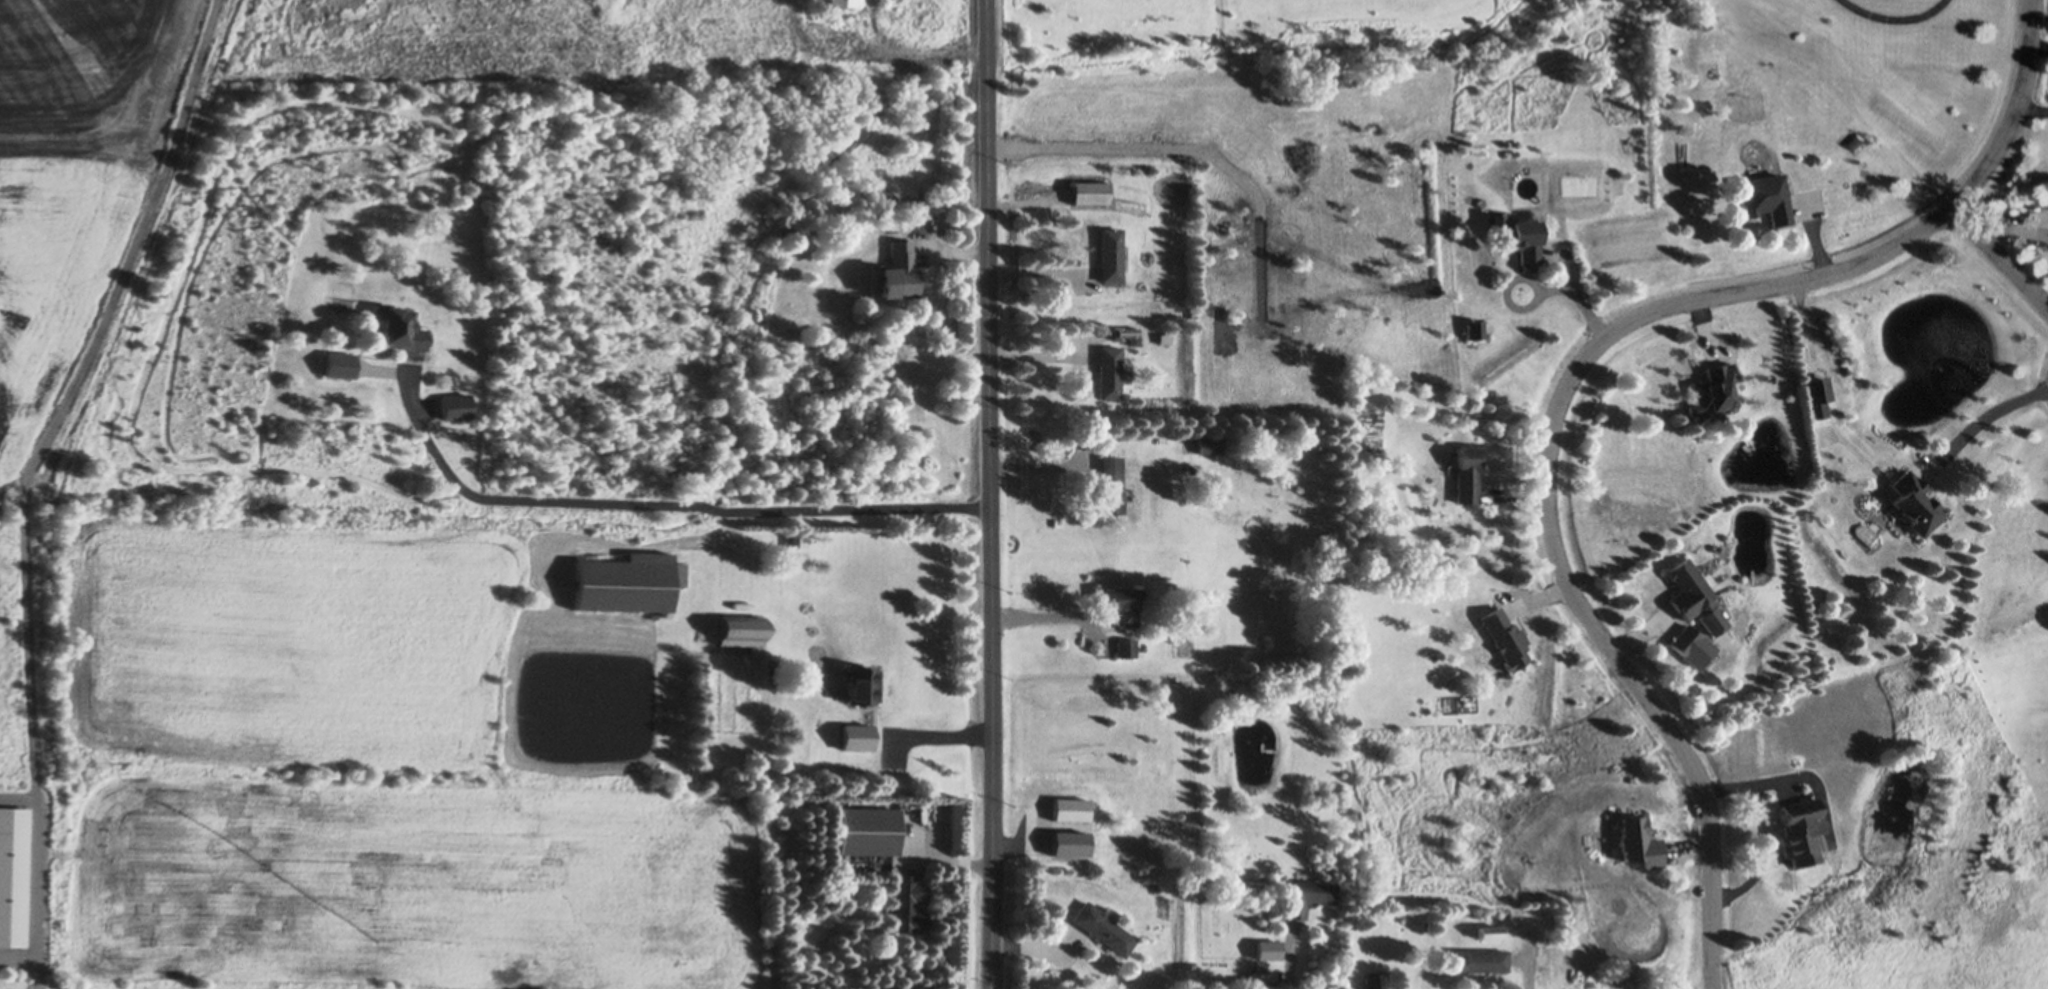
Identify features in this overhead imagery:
building: (838, 2)
road: (1897, 18)
building: (886, 32)
road: (2037, 47)
road: (910, 55)
road: (2031, 110)
building: (1857, 141)
road: (1142, 145)
building: (1090, 192)
building: (887, 194)
crop: (90, 195)
building: (475, 197)
building: (1765, 197)
building: (1517, 237)
building: (1110, 254)
road: (2000, 257)
building: (902, 268)
road: (1573, 291)
building: (399, 328)
building: (1474, 329)
building: (1129, 334)
building: (1157, 337)
building: (339, 364)
building: (1110, 372)
road: (1572, 379)
building: (1713, 389)
building: (1817, 389)
building: (456, 406)
road: (1985, 418)
building: (1203, 443)
road: (1045, 466)
building: (1466, 474)
road: (27, 475)
building: (1110, 485)
road: (991, 494)
road: (658, 503)
building: (1913, 504)
building: (796, 545)
building: (628, 583)
building: (1694, 597)
building: (1121, 604)
building: (742, 630)
building: (1505, 638)
building: (1684, 640)
building: (1125, 648)
building: (862, 685)
road: (938, 733)
building: (856, 737)
building: (1069, 810)
building: (1799, 830)
road: (1762, 831)
building: (867, 832)
building: (1068, 844)
building: (1639, 844)
building: (13, 876)
building: (1308, 898)
building: (907, 907)
building: (1103, 928)
building: (1490, 932)
building: (1481, 960)

